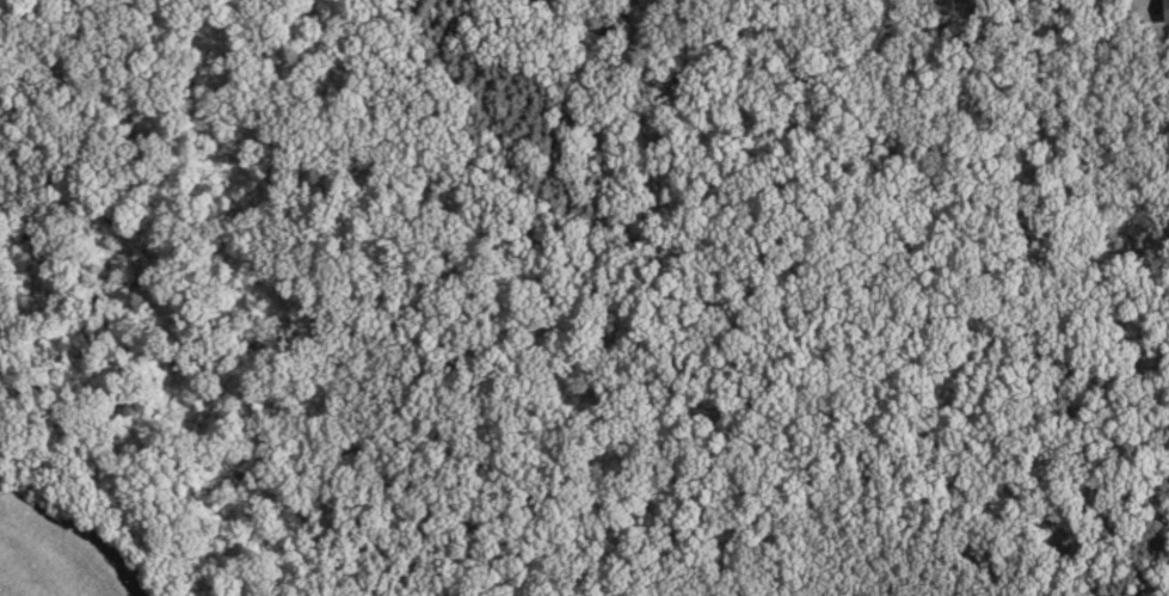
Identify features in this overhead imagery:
building: (1164, 12)

